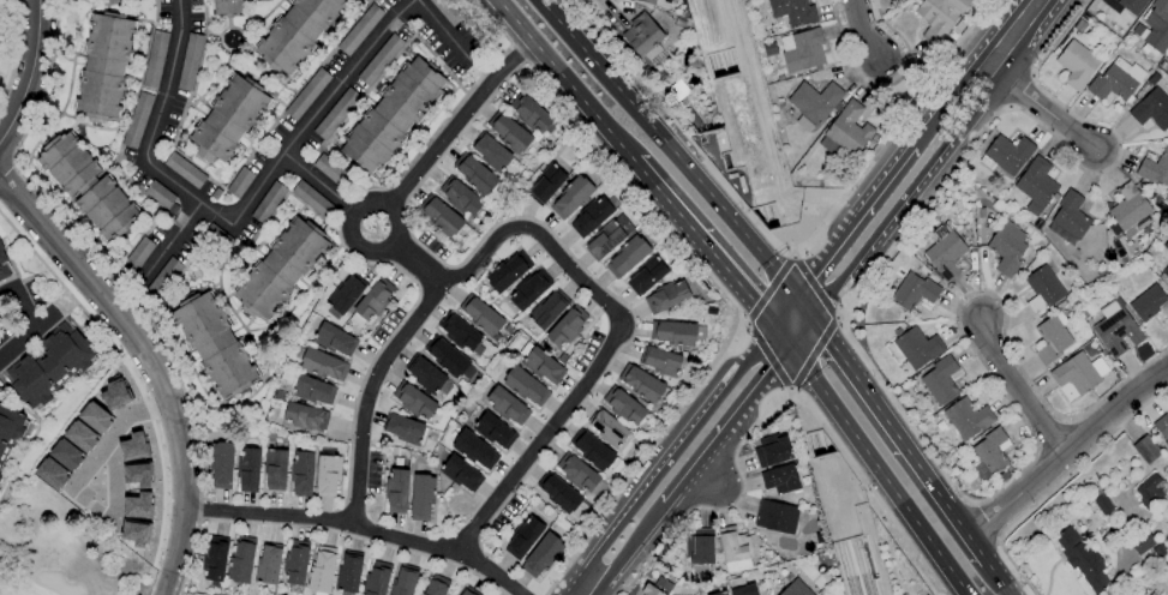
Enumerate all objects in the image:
building: (113, 0)
building: (652, 2)
building: (1125, 5)
building: (227, 7)
building: (448, 11)
building: (793, 12)
building: (940, 17)
road: (513, 20)
building: (1155, 26)
building: (359, 29)
road: (863, 29)
building: (298, 31)
road: (444, 31)
road: (1011, 32)
building: (643, 36)
park: (11, 48)
building: (802, 50)
road: (16, 53)
building: (1167, 58)
building: (155, 59)
building: (381, 60)
railway: (727, 61)
building: (190, 62)
building: (1077, 64)
railway: (714, 65)
building: (103, 66)
road: (28, 70)
building: (1116, 80)
road: (910, 82)
road: (960, 83)
road: (881, 85)
building: (307, 95)
building: (814, 103)
road: (1040, 106)
road: (589, 108)
building: (1151, 109)
building: (531, 113)
building: (336, 114)
building: (393, 115)
road: (667, 116)
building: (228, 119)
building: (137, 120)
road: (456, 122)
road: (927, 126)
building: (846, 131)
building: (509, 132)
road: (886, 144)
road: (664, 145)
building: (491, 152)
building: (1007, 155)
building: (1155, 168)
building: (184, 170)
road: (6, 172)
building: (334, 173)
building: (475, 174)
building: (240, 182)
road: (318, 184)
building: (546, 184)
building: (88, 186)
building: (1036, 186)
building: (160, 194)
road: (905, 194)
building: (460, 197)
building: (571, 197)
building: (312, 199)
building: (268, 203)
road: (371, 204)
building: (173, 209)
building: (1127, 211)
railway: (754, 212)
building: (441, 215)
building: (1070, 215)
railway: (769, 216)
road: (235, 217)
building: (591, 217)
road: (853, 220)
building: (217, 238)
building: (607, 238)
road: (167, 244)
building: (1166, 245)
building: (1, 247)
building: (1008, 247)
road: (709, 250)
building: (945, 251)
building: (627, 257)
building: (136, 258)
road: (417, 264)
building: (281, 268)
building: (4, 269)
building: (508, 272)
building: (1164, 275)
building: (646, 276)
building: (163, 277)
road: (813, 286)
road: (115, 287)
building: (1043, 287)
road: (767, 288)
building: (529, 289)
road: (719, 289)
building: (914, 292)
building: (346, 293)
traffic signals: (795, 293)
parking lot: (32, 294)
building: (666, 296)
road: (72, 300)
road: (127, 300)
building: (371, 302)
building: (1150, 303)
road: (803, 306)
road: (783, 308)
building: (546, 311)
building: (481, 317)
traffic signals: (813, 319)
parking lot: (7, 321)
road: (26, 324)
road: (42, 324)
traffic signals: (771, 325)
building: (567, 326)
building: (1115, 329)
building: (460, 332)
building: (677, 332)
road: (801, 335)
road: (780, 337)
building: (1052, 338)
building: (335, 339)
road: (613, 339)
building: (214, 344)
building: (914, 348)
traffic signals: (790, 350)
road: (811, 355)
road: (767, 356)
building: (449, 359)
building: (660, 361)
road: (150, 363)
building: (321, 363)
building: (540, 363)
building: (49, 366)
road: (130, 372)
building: (1079, 373)
building: (427, 375)
building: (941, 380)
building: (641, 383)
road: (879, 384)
building: (525, 386)
road: (1017, 387)
building: (313, 390)
road: (367, 393)
building: (113, 396)
building: (414, 401)
building: (507, 405)
building: (624, 407)
building: (303, 416)
building: (95, 417)
building: (968, 417)
road: (725, 426)
building: (1162, 427)
building: (405, 428)
building: (607, 428)
building: (10, 429)
building: (493, 431)
road: (110, 437)
road: (898, 437)
road: (30, 438)
railway: (814, 444)
building: (131, 445)
railway: (828, 447)
building: (1146, 449)
building: (474, 450)
building: (592, 450)
building: (773, 450)
road: (1067, 451)
building: (65, 455)
building: (989, 455)
road: (670, 456)
building: (221, 464)
building: (248, 469)
building: (275, 469)
road: (876, 471)
building: (303, 473)
building: (461, 473)
building: (577, 473)
building: (0, 475)
building: (328, 475)
road: (703, 475)
building: (780, 480)
road: (1055, 481)
road: (114, 482)
road: (742, 486)
building: (137, 489)
building: (396, 491)
building: (1149, 492)
building: (558, 493)
building: (421, 497)
building: (1103, 505)
road: (891, 516)
building: (777, 517)
road: (986, 519)
road: (355, 525)
building: (134, 534)
building: (523, 537)
building: (1148, 546)
building: (733, 549)
park: (61, 551)
road: (625, 551)
building: (702, 551)
building: (543, 555)
building: (215, 559)
building: (1082, 559)
building: (241, 560)
building: (297, 563)
building: (268, 565)
railway: (861, 565)
railway: (846, 567)
building: (321, 570)
building: (348, 573)
road: (998, 576)
building: (377, 579)
building: (405, 582)
building: (436, 585)
building: (741, 587)
building: (652, 588)
building: (796, 589)
building: (469, 591)
building: (720, 594)
building: (1151, 594)

